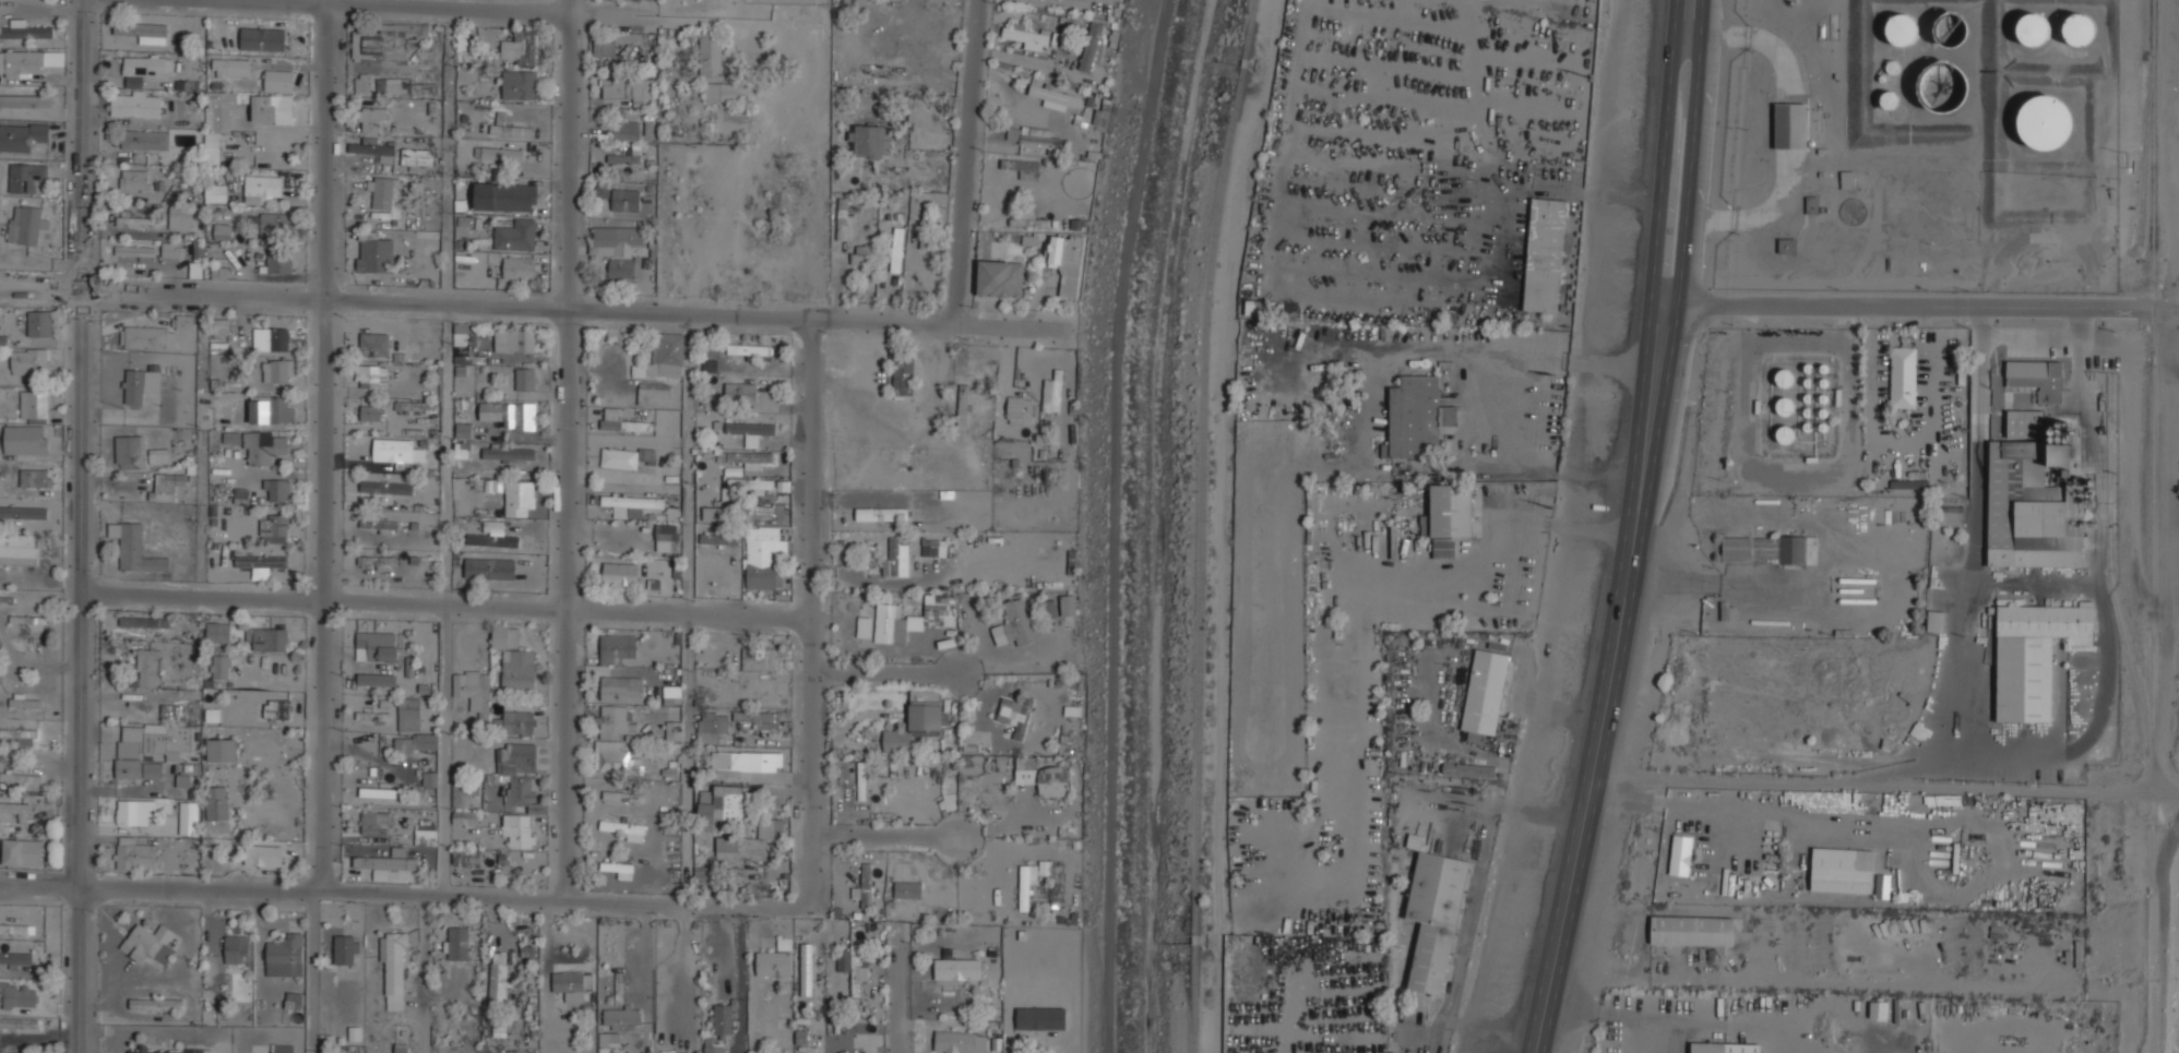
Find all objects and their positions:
road: (469, 5)
road: (1682, 27)
building: (2034, 28)
storage tank: (2034, 28)
building: (2077, 28)
storage tank: (2077, 28)
building: (1902, 29)
building: (142, 31)
building: (27, 32)
building: (262, 38)
building: (1028, 38)
building: (386, 41)
building: (464, 45)
building: (1089, 46)
building: (519, 48)
building: (604, 49)
building: (711, 56)
building: (25, 63)
building: (144, 68)
building: (229, 68)
building: (359, 83)
building: (519, 84)
building: (1930, 85)
building: (406, 87)
building: (631, 89)
building: (721, 92)
building: (1055, 95)
building: (274, 97)
building: (23, 104)
building: (135, 104)
building: (371, 119)
building: (1099, 119)
building: (216, 121)
building: (2044, 121)
storage tank: (2044, 121)
building: (508, 125)
building: (1790, 125)
building: (626, 130)
building: (648, 131)
building: (22, 136)
building: (1040, 139)
building: (144, 140)
building: (371, 146)
railway: (2145, 148)
road: (1663, 149)
road: (1681, 149)
building: (501, 153)
building: (416, 156)
road: (969, 161)
building: (1020, 165)
building: (26, 177)
building: (133, 179)
building: (260, 189)
building: (603, 190)
building: (381, 191)
building: (215, 192)
building: (504, 196)
building: (626, 200)
building: (1812, 204)
building: (179, 216)
building: (842, 218)
building: (1026, 219)
building: (139, 220)
building: (276, 224)
building: (26, 227)
building: (221, 231)
building: (515, 235)
building: (1029, 239)
building: (616, 240)
building: (1787, 246)
building: (172, 249)
building: (896, 250)
building: (133, 251)
building: (199, 252)
building: (372, 252)
building: (1544, 254)
building: (857, 258)
building: (278, 261)
building: (1065, 261)
road: (448, 262)
building: (464, 264)
building: (519, 266)
building: (621, 268)
building: (1000, 278)
road: (1918, 304)
road: (519, 307)
road: (1981, 322)
building: (40, 323)
building: (221, 326)
building: (156, 333)
building: (271, 338)
building: (514, 339)
road: (2047, 339)
building: (374, 345)
building: (749, 349)
building: (664, 356)
building: (31, 362)
building: (277, 370)
building: (903, 374)
building: (370, 375)
building: (1903, 378)
building: (2037, 378)
building: (524, 379)
building: (139, 384)
building: (740, 391)
building: (1052, 392)
building: (648, 395)
building: (35, 406)
building: (962, 406)
building: (270, 409)
building: (414, 409)
building: (1019, 409)
building: (370, 411)
building: (509, 414)
building: (1416, 416)
building: (620, 420)
building: (2025, 423)
building: (462, 424)
building: (1332, 427)
building: (749, 428)
building: (2058, 432)
building: (1785, 433)
building: (25, 440)
road: (329, 445)
building: (262, 447)
road: (568, 448)
building: (462, 450)
building: (396, 451)
building: (130, 452)
building: (508, 453)
building: (2058, 455)
building: (623, 456)
building: (745, 456)
building: (33, 478)
building: (750, 483)
building: (1914, 484)
building: (165, 486)
building: (385, 487)
building: (278, 490)
building: (519, 499)
building: (632, 502)
building: (1451, 508)
building: (2031, 510)
building: (748, 511)
building: (712, 512)
building: (23, 513)
building: (882, 514)
road: (1202, 524)
building: (379, 525)
road: (76, 526)
railway: (2154, 526)
building: (273, 528)
building: (667, 531)
building: (718, 538)
building: (492, 540)
building: (937, 547)
building: (133, 548)
building: (1770, 548)
building: (523, 549)
building: (19, 550)
building: (469, 550)
building: (761, 557)
building: (896, 557)
building: (260, 561)
building: (377, 561)
building: (489, 569)
building: (619, 573)
road: (1966, 577)
railway: (2115, 586)
road: (405, 602)
building: (1067, 603)
road: (691, 609)
building: (1725, 610)
road: (811, 612)
building: (1936, 614)
building: (912, 618)
building: (143, 622)
building: (864, 623)
building: (1014, 623)
road: (2105, 623)
building: (217, 632)
building: (265, 638)
building: (378, 645)
building: (616, 647)
building: (2033, 656)
building: (758, 658)
building: (514, 660)
building: (219, 666)
building: (148, 667)
road: (898, 677)
road: (1610, 677)
building: (377, 680)
building: (621, 687)
building: (764, 689)
building: (472, 690)
railway: (2160, 691)
building: (1483, 693)
building: (672, 694)
building: (24, 701)
building: (276, 708)
building: (172, 711)
building: (407, 713)
building: (1014, 713)
building: (753, 717)
building: (516, 722)
building: (915, 723)
building: (711, 726)
building: (674, 730)
building: (20, 735)
building: (159, 738)
building: (614, 739)
building: (426, 740)
building: (221, 750)
road: (445, 750)
building: (746, 761)
building: (138, 768)
building: (1467, 769)
building: (517, 771)
building: (1025, 775)
building: (23, 779)
building: (429, 779)
building: (183, 780)
building: (861, 780)
building: (1053, 780)
road: (1886, 786)
building: (379, 792)
building: (620, 795)
building: (493, 797)
building: (271, 802)
building: (216, 803)
building: (718, 803)
building: (17, 810)
building: (134, 811)
building: (188, 817)
building: (464, 817)
building: (374, 822)
building: (519, 828)
building: (626, 829)
building: (426, 833)
road: (900, 836)
building: (750, 841)
building: (270, 849)
building: (23, 852)
building: (132, 854)
building: (1680, 854)
building: (466, 857)
building: (384, 862)
building: (616, 866)
building: (1045, 867)
building: (1842, 870)
building: (1027, 882)
building: (864, 885)
building: (1882, 886)
building: (907, 888)
road: (402, 893)
road: (1470, 914)
building: (1433, 918)
building: (1692, 931)
building: (147, 943)
building: (455, 943)
building: (346, 949)
building: (236, 950)
building: (527, 950)
building: (284, 952)
building: (15, 958)
building: (773, 964)
building: (852, 967)
building: (956, 967)
building: (394, 968)
building: (806, 969)
road: (311, 971)
road: (739, 980)
building: (499, 983)
building: (570, 984)
road: (903, 988)
building: (1, 993)
building: (20, 996)
building: (294, 1001)
building: (155, 1003)
building: (1878, 1009)
road: (1603, 1012)
building: (621, 1015)
building: (722, 1019)
building: (19, 1022)
building: (1039, 1027)
building: (800, 1037)
building: (960, 1041)
building: (713, 1044)
building: (837, 1045)
building: (1707, 1048)
building: (279, 1049)
building: (165, 1050)

